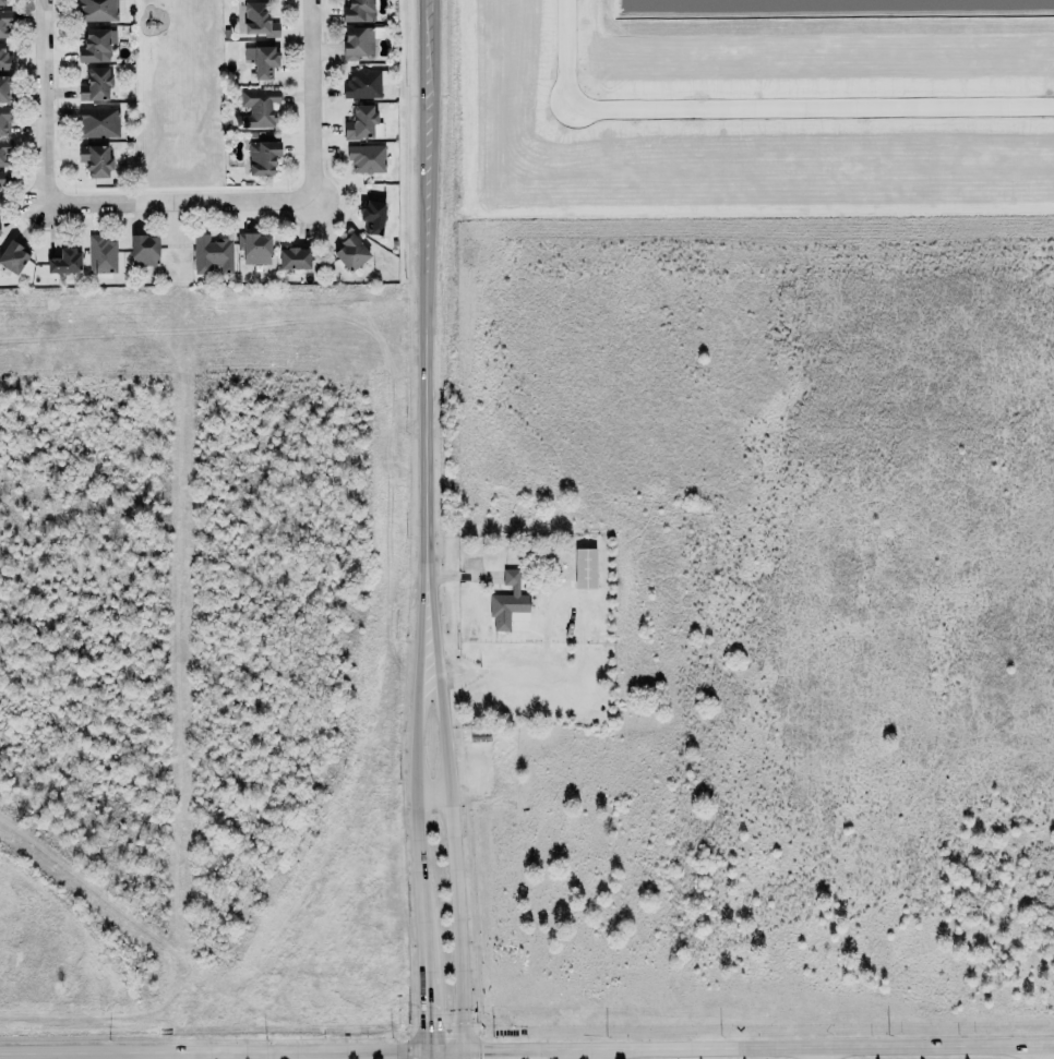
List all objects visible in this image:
building: (0, 2)
building: (97, 10)
building: (357, 10)
building: (259, 21)
building: (5, 24)
building: (358, 40)
building: (95, 45)
building: (4, 57)
building: (263, 61)
building: (362, 83)
building: (95, 85)
building: (3, 89)
road: (44, 100)
road: (312, 100)
road: (757, 104)
building: (259, 108)
building: (4, 121)
building: (96, 121)
building: (360, 123)
building: (5, 154)
building: (263, 158)
building: (367, 158)
building: (96, 160)
building: (0, 178)
road: (179, 201)
building: (370, 216)
building: (254, 249)
building: (144, 251)
building: (349, 253)
building: (99, 254)
building: (213, 255)
building: (12, 256)
building: (291, 258)
building: (65, 263)
road: (426, 336)
building: (585, 568)
building: (508, 603)
road: (540, 672)
road: (433, 795)
road: (417, 825)
road: (454, 859)
road: (423, 1015)
road: (1046, 1044)
road: (800, 1048)
road: (443, 1051)
traffic signals: (462, 1051)
road: (511, 1051)
road: (1039, 1051)
road: (196, 1052)
road: (336, 1052)
traffic signals: (424, 1052)
road: (73, 1054)
road: (0, 1055)
road: (462, 1055)
road: (145, 1056)
road: (424, 1056)

